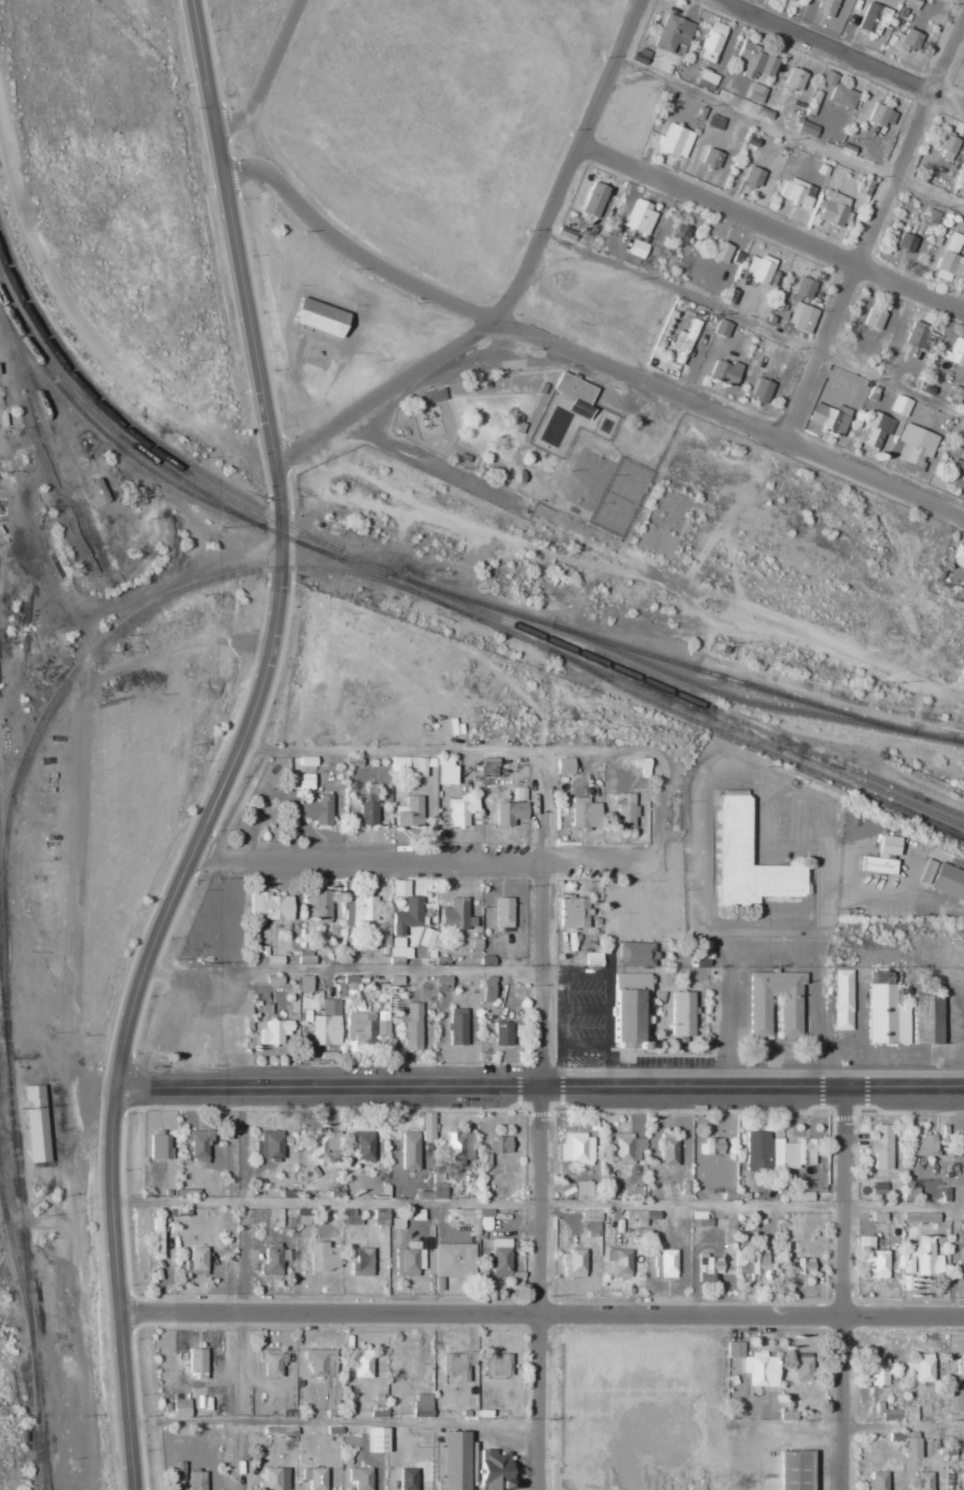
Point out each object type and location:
building: (911, 4)
building: (826, 7)
building: (874, 19)
building: (672, 32)
building: (908, 39)
building: (712, 41)
road: (831, 54)
building: (748, 59)
building: (769, 65)
road: (272, 74)
building: (829, 77)
building: (706, 79)
building: (795, 79)
building: (756, 92)
building: (842, 96)
building: (882, 114)
building: (716, 121)
building: (807, 128)
building: (675, 140)
building: (946, 142)
building: (711, 157)
building: (753, 175)
building: (797, 191)
building: (594, 199)
building: (833, 208)
building: (639, 217)
road: (770, 224)
building: (680, 234)
road: (876, 239)
building: (906, 242)
building: (954, 242)
building: (637, 248)
building: (720, 252)
building: (949, 265)
building: (760, 268)
road: (517, 279)
building: (803, 288)
building: (318, 316)
building: (801, 317)
building: (873, 318)
building: (722, 328)
building: (921, 336)
building: (683, 341)
building: (954, 352)
road: (568, 356)
building: (724, 372)
building: (761, 388)
building: (574, 394)
building: (900, 405)
building: (829, 417)
railway: (101, 428)
building: (875, 430)
railway: (133, 435)
railway: (57, 437)
building: (915, 444)
railway: (59, 467)
railway: (83, 475)
building: (517, 476)
building: (956, 476)
building: (957, 555)
railway: (345, 557)
railway: (375, 564)
railway: (387, 578)
railway: (91, 655)
railway: (640, 666)
road: (242, 750)
road: (340, 750)
railway: (767, 751)
railway: (5, 752)
building: (412, 764)
building: (564, 766)
building: (642, 766)
building: (444, 771)
building: (299, 781)
building: (520, 794)
building: (461, 809)
building: (625, 809)
building: (317, 810)
building: (409, 812)
building: (368, 813)
building: (509, 813)
building: (584, 813)
parking lot: (782, 816)
building: (888, 846)
building: (749, 858)
road: (706, 859)
building: (877, 864)
road: (418, 869)
building: (927, 872)
building: (949, 882)
building: (400, 888)
building: (319, 904)
building: (268, 906)
building: (575, 910)
building: (503, 912)
building: (456, 915)
parking lot: (763, 919)
road: (827, 919)
road: (545, 921)
building: (405, 925)
building: (425, 938)
building: (384, 939)
road: (776, 942)
railway: (6, 947)
building: (638, 953)
building: (305, 957)
building: (595, 957)
railway: (23, 959)
building: (273, 960)
building: (486, 960)
building: (442, 980)
building: (304, 983)
building: (350, 983)
building: (487, 989)
road: (611, 999)
building: (842, 1000)
parking lot: (744, 1003)
building: (761, 1005)
parking lot: (806, 1005)
road: (587, 1007)
building: (630, 1007)
building: (685, 1013)
building: (885, 1013)
building: (927, 1019)
building: (327, 1024)
building: (384, 1025)
building: (361, 1026)
building: (457, 1027)
road: (563, 1027)
building: (413, 1028)
building: (274, 1032)
building: (502, 1033)
parking lot: (605, 1033)
road: (587, 1041)
road: (540, 1090)
building: (34, 1126)
building: (427, 1126)
building: (270, 1144)
building: (198, 1145)
building: (362, 1145)
building: (499, 1145)
building: (626, 1146)
building: (881, 1146)
building: (923, 1146)
building: (159, 1147)
building: (710, 1147)
building: (458, 1148)
building: (578, 1148)
building: (409, 1151)
building: (668, 1151)
building: (777, 1153)
building: (485, 1160)
railway: (2, 1176)
building: (879, 1189)
building: (583, 1190)
building: (910, 1191)
building: (435, 1192)
building: (643, 1214)
building: (417, 1215)
building: (303, 1216)
building: (349, 1216)
building: (380, 1216)
building: (275, 1217)
building: (920, 1217)
building: (470, 1219)
building: (700, 1219)
railway: (23, 1220)
building: (591, 1220)
building: (396, 1224)
building: (730, 1227)
building: (157, 1238)
building: (322, 1257)
building: (501, 1257)
building: (921, 1258)
railway: (17, 1259)
building: (274, 1259)
building: (409, 1259)
building: (872, 1259)
building: (196, 1261)
building: (454, 1261)
building: (362, 1262)
building: (619, 1263)
building: (664, 1263)
building: (573, 1264)
building: (802, 1266)
building: (759, 1267)
building: (708, 1268)
building: (960, 1268)
road: (533, 1290)
road: (839, 1290)
road: (541, 1312)
building: (735, 1349)
building: (271, 1361)
building: (196, 1362)
building: (361, 1362)
building: (457, 1364)
building: (496, 1364)
building: (802, 1365)
building: (960, 1365)
building: (922, 1368)
building: (760, 1369)
building: (878, 1371)
building: (324, 1373)
building: (422, 1406)
building: (166, 1407)
building: (180, 1408)
building: (288, 1413)
building: (332, 1413)
building: (379, 1413)
building: (465, 1413)
building: (484, 1413)
building: (899, 1413)
road: (330, 1422)
building: (279, 1430)
building: (180, 1431)
building: (896, 1435)
building: (376, 1439)
building: (911, 1445)
building: (454, 1460)
building: (347, 1461)
building: (492, 1469)
building: (794, 1470)
building: (314, 1477)
building: (359, 1477)
building: (273, 1479)
building: (406, 1479)
building: (195, 1480)
building: (878, 1480)
building: (923, 1481)
building: (961, 1482)

